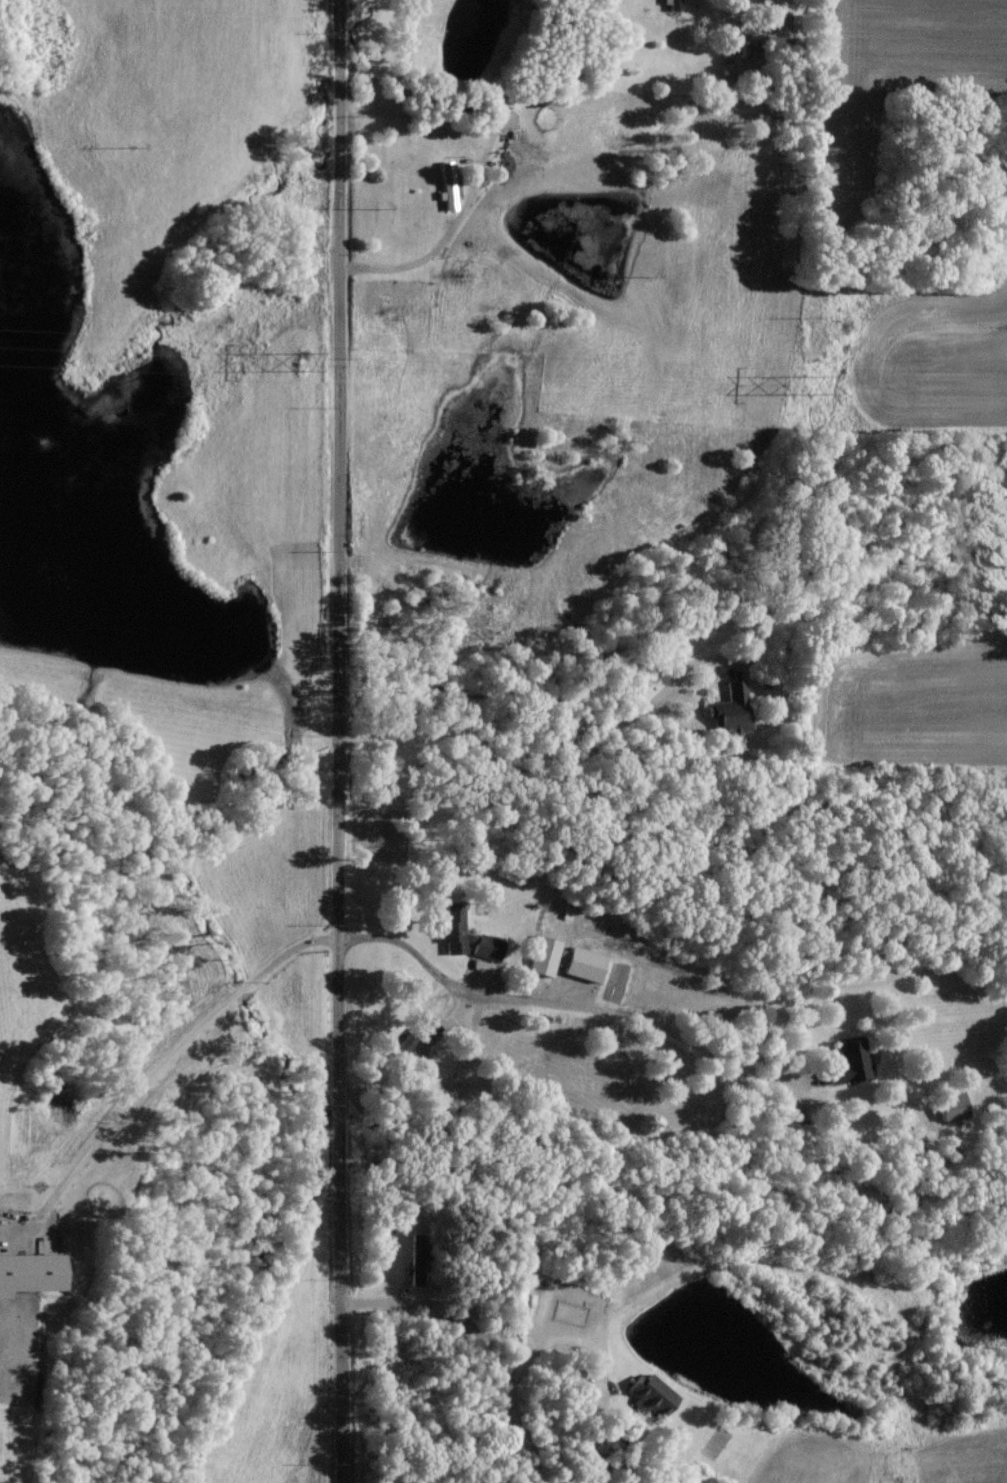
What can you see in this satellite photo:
building: (497, 117)
road: (431, 253)
power tower: (302, 359)
power tower: (807, 384)
building: (729, 710)
road: (334, 741)
building: (451, 927)
building: (484, 945)
building: (540, 955)
building: (579, 963)
road: (562, 1004)
building: (413, 1034)
building: (845, 1062)
road: (157, 1067)
building: (950, 1106)
building: (28, 1272)
road: (540, 1346)
building: (648, 1392)
road: (594, 1468)

